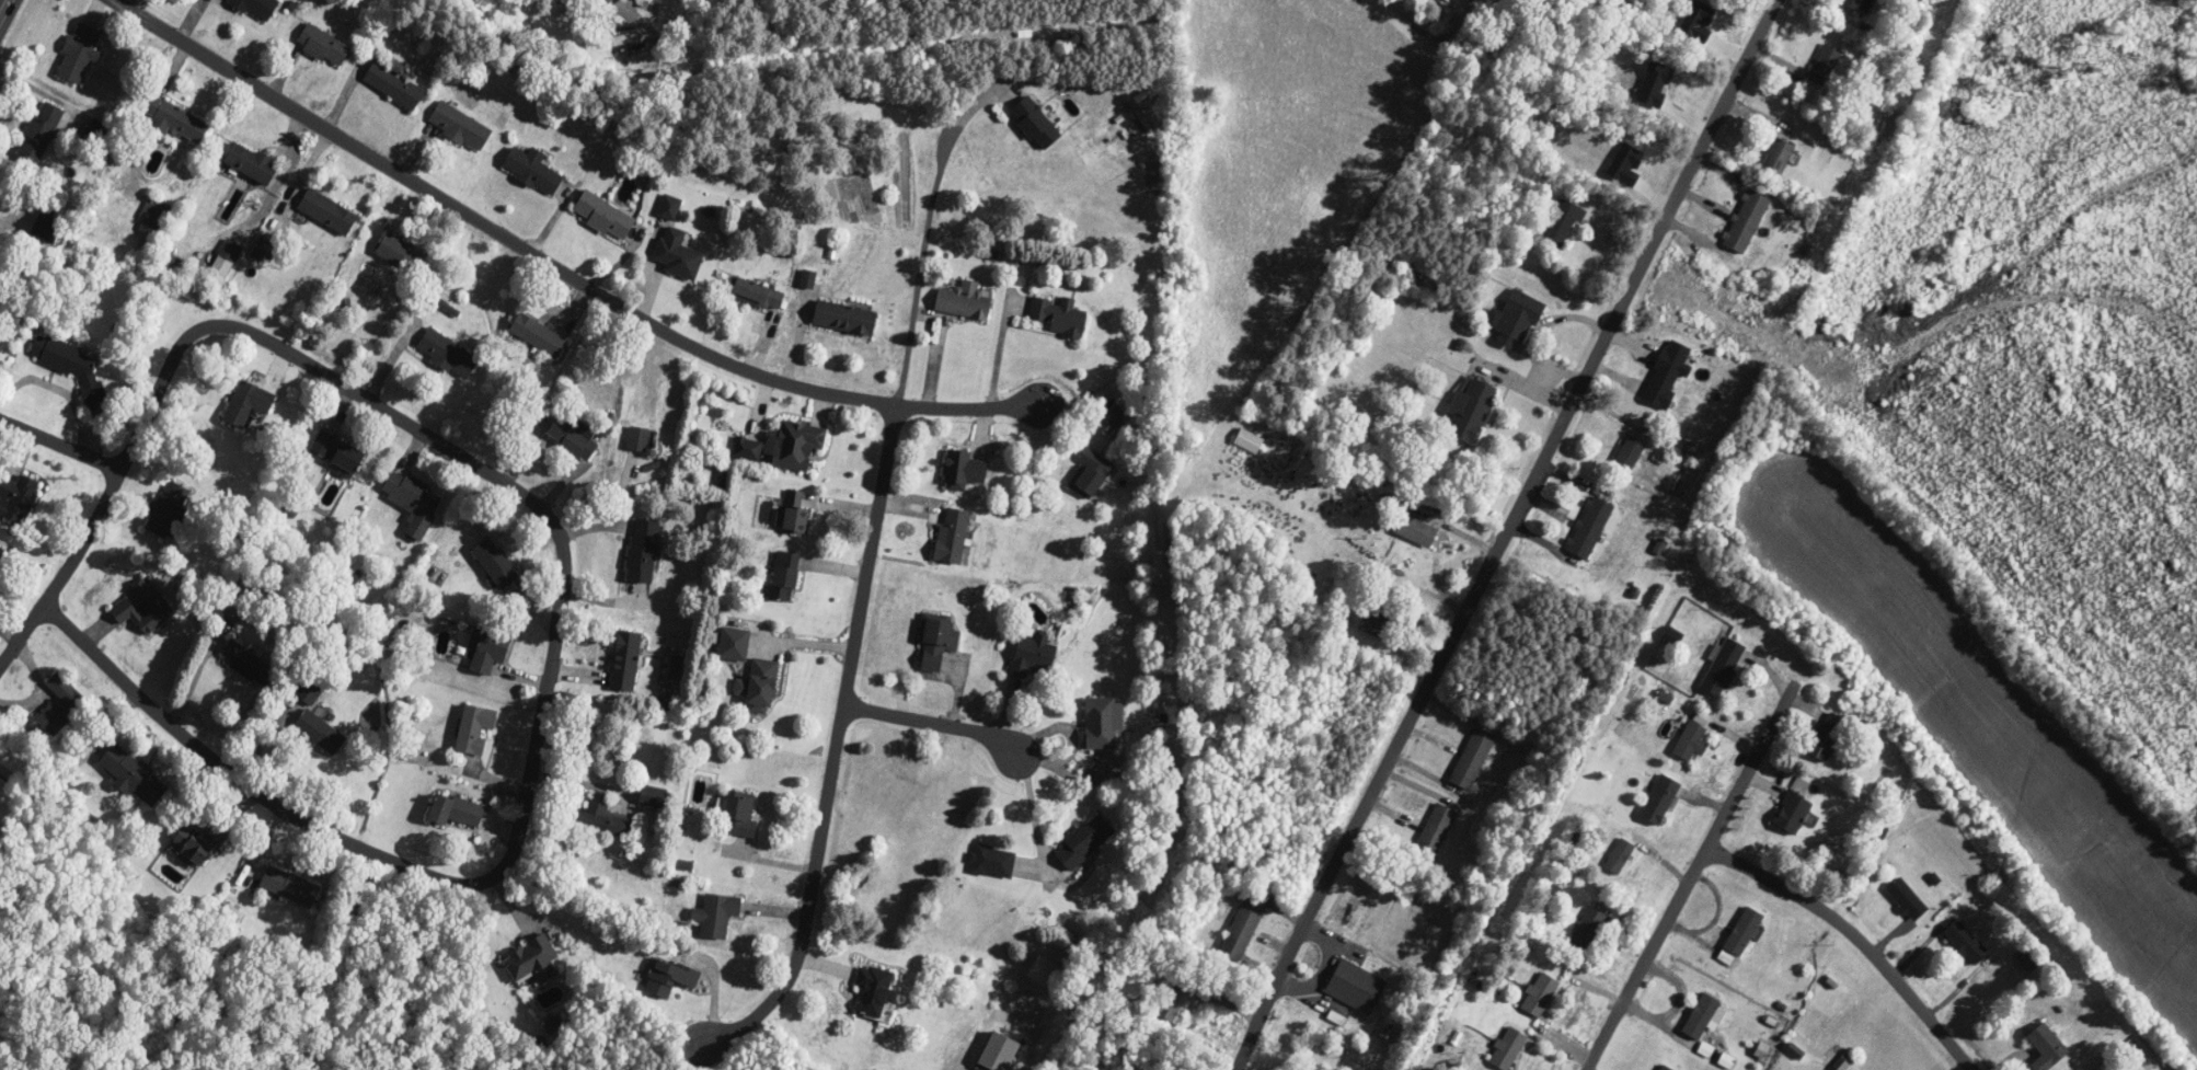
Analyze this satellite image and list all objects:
building: (1447, 1)
building: (1857, 1)
building: (644, 2)
road: (2, 7)
building: (258, 8)
building: (668, 12)
road: (626, 13)
building: (621, 39)
building: (324, 45)
building: (80, 53)
building: (642, 56)
building: (1824, 65)
building: (395, 85)
building: (1149, 92)
building: (176, 119)
building: (1037, 124)
building: (461, 126)
building: (39, 133)
building: (1778, 157)
building: (253, 162)
building: (532, 170)
building: (670, 207)
building: (329, 212)
building: (605, 215)
building: (153, 217)
road: (12, 220)
building: (1746, 221)
building: (1562, 222)
building: (49, 228)
building: (266, 248)
building: (231, 250)
building: (400, 252)
building: (679, 253)
road: (922, 261)
road: (573, 274)
building: (809, 278)
building: (757, 292)
building: (965, 301)
building: (1060, 315)
building: (847, 318)
building: (1517, 320)
building: (540, 335)
building: (449, 353)
building: (71, 365)
building: (1667, 373)
building: (250, 403)
building: (1469, 409)
building: (1118, 416)
building: (574, 437)
building: (639, 438)
road: (62, 440)
building: (1247, 441)
building: (796, 444)
building: (748, 448)
building: (340, 452)
building: (1629, 452)
building: (964, 470)
building: (1094, 472)
road: (112, 491)
building: (413, 502)
building: (169, 508)
building: (794, 513)
building: (1589, 528)
building: (1416, 531)
road: (1507, 532)
building: (953, 536)
building: (0, 549)
building: (644, 551)
building: (496, 563)
building: (785, 576)
building: (143, 606)
building: (1371, 625)
building: (939, 643)
building: (735, 644)
building: (488, 649)
building: (1035, 656)
building: (625, 661)
building: (249, 663)
building: (1722, 667)
building: (760, 686)
building: (310, 691)
building: (61, 704)
road: (931, 722)
building: (1104, 723)
building: (475, 728)
building: (321, 733)
road: (1073, 736)
building: (1826, 737)
building: (1689, 741)
road: (835, 758)
building: (1472, 758)
building: (135, 775)
road: (533, 778)
road: (1737, 791)
building: (1658, 801)
building: (457, 812)
building: (1791, 814)
building: (738, 815)
building: (607, 817)
building: (1436, 829)
building: (1086, 841)
building: (202, 844)
building: (1619, 856)
building: (981, 860)
building: (290, 886)
building: (1906, 899)
building: (717, 914)
building: (1242, 930)
building: (1586, 931)
building: (1741, 932)
road: (1861, 935)
building: (1966, 943)
building: (2027, 957)
building: (533, 960)
building: (1044, 971)
building: (668, 977)
building: (1355, 986)
building: (872, 989)
building: (1539, 993)
building: (1184, 1000)
building: (1701, 1016)
building: (2046, 1047)
building: (1507, 1048)
building: (996, 1052)
building: (1664, 1068)

